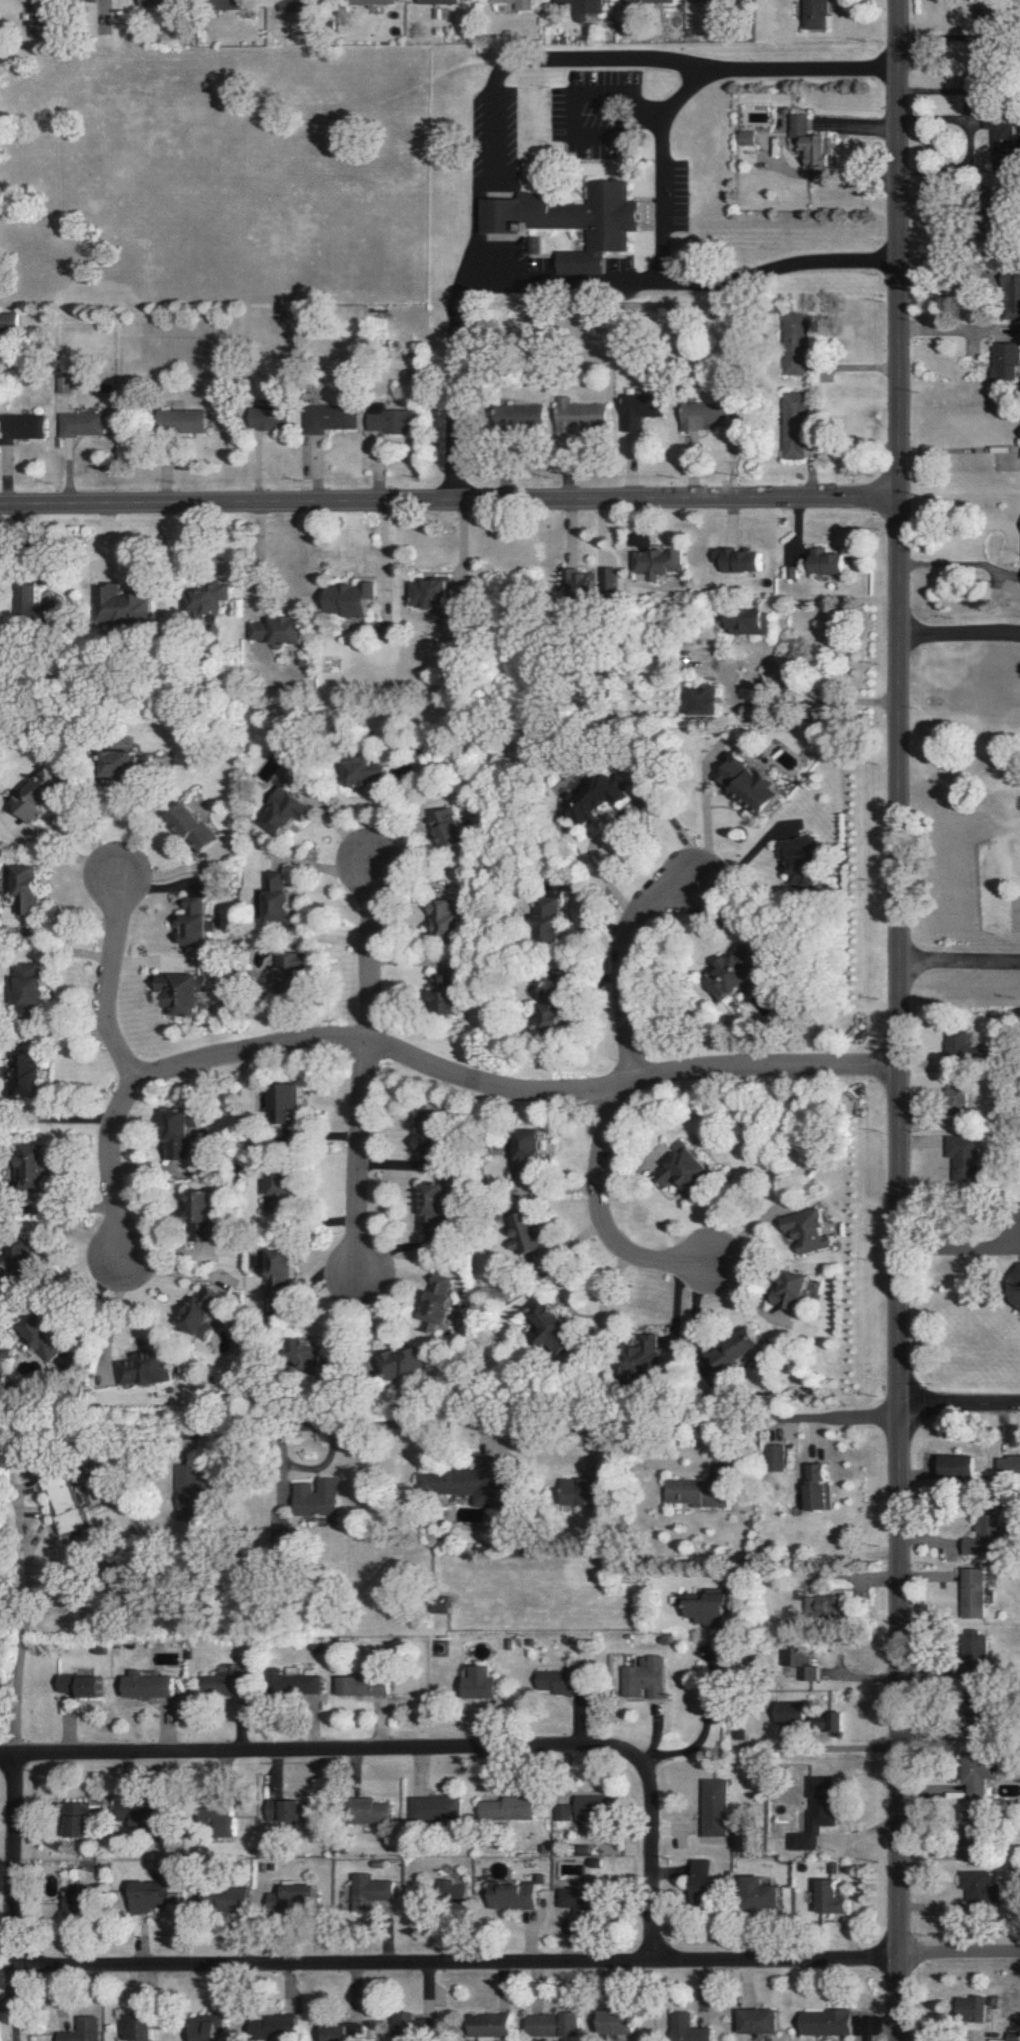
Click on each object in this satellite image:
building: (436, 1)
building: (646, 1)
building: (716, 1)
road: (114, 2)
building: (158, 2)
building: (374, 2)
building: (515, 4)
building: (582, 7)
building: (303, 10)
building: (985, 10)
building: (813, 14)
building: (36, 17)
building: (997, 132)
building: (744, 137)
building: (808, 141)
road: (489, 156)
road: (656, 193)
building: (571, 221)
building: (530, 245)
road: (951, 274)
building: (5, 321)
building: (1004, 360)
road: (446, 381)
building: (636, 409)
building: (518, 413)
building: (576, 413)
building: (702, 415)
building: (270, 417)
building: (327, 418)
building: (179, 420)
building: (389, 420)
building: (79, 424)
building: (27, 425)
road: (951, 448)
road: (448, 503)
road: (251, 559)
building: (737, 560)
road: (949, 560)
road: (377, 561)
building: (656, 562)
building: (827, 562)
building: (593, 582)
building: (427, 593)
building: (201, 599)
building: (348, 599)
building: (119, 606)
building: (34, 610)
building: (277, 630)
road: (958, 634)
road: (806, 698)
building: (703, 700)
building: (134, 763)
building: (368, 774)
building: (752, 785)
building: (42, 794)
building: (593, 796)
building: (288, 811)
road: (621, 812)
building: (194, 824)
building: (449, 828)
building: (799, 859)
building: (27, 889)
building: (277, 898)
building: (445, 916)
building: (548, 918)
building: (197, 922)
road: (369, 954)
road: (959, 963)
building: (290, 973)
road: (621, 973)
building: (731, 973)
building: (26, 984)
road: (109, 984)
building: (179, 993)
building: (445, 994)
building: (551, 1011)
road: (898, 1020)
building: (953, 1043)
building: (21, 1075)
road: (512, 1098)
building: (954, 1098)
building: (281, 1101)
building: (428, 1134)
building: (178, 1138)
building: (524, 1153)
building: (960, 1158)
road: (356, 1160)
building: (33, 1166)
road: (109, 1168)
building: (278, 1190)
building: (431, 1206)
building: (199, 1207)
road: (596, 1216)
road: (739, 1230)
building: (804, 1230)
building: (525, 1233)
road: (960, 1245)
building: (278, 1272)
building: (791, 1291)
building: (432, 1299)
building: (201, 1311)
building: (547, 1328)
building: (39, 1335)
building: (735, 1350)
building: (641, 1353)
building: (310, 1355)
building: (401, 1362)
building: (145, 1369)
road: (958, 1407)
road: (548, 1411)
building: (772, 1457)
building: (1006, 1467)
building: (815, 1488)
building: (577, 1492)
building: (693, 1493)
building: (188, 1497)
building: (313, 1497)
building: (61, 1504)
building: (978, 1536)
building: (968, 1593)
road: (22, 1596)
building: (818, 1605)
building: (703, 1606)
building: (793, 1659)
building: (231, 1664)
building: (640, 1677)
building: (478, 1682)
building: (556, 1682)
building: (219, 1683)
building: (289, 1683)
building: (78, 1685)
building: (145, 1686)
building: (359, 1686)
road: (698, 1727)
road: (842, 1745)
road: (316, 1754)
building: (971, 1779)
building: (587, 1806)
building: (711, 1806)
building: (430, 1807)
building: (502, 1808)
building: (283, 1810)
building: (366, 1810)
building: (558, 1812)
building: (812, 1812)
building: (141, 1814)
building: (75, 1819)
road: (11, 1860)
road: (648, 1860)
building: (700, 1878)
building: (367, 1887)
building: (758, 1892)
building: (446, 1893)
building: (509, 1895)
building: (148, 1896)
building: (290, 1897)
building: (831, 1897)
building: (226, 1898)
building: (575, 1899)
building: (67, 1902)
road: (516, 1965)
road: (7, 2000)
building: (969, 2007)
building: (756, 2021)
building: (399, 2022)
building: (613, 2022)
building: (823, 2022)
building: (549, 2024)
building: (133, 2025)
building: (205, 2027)
building: (270, 2027)
building: (684, 2028)
building: (78, 2030)
building: (339, 2032)

